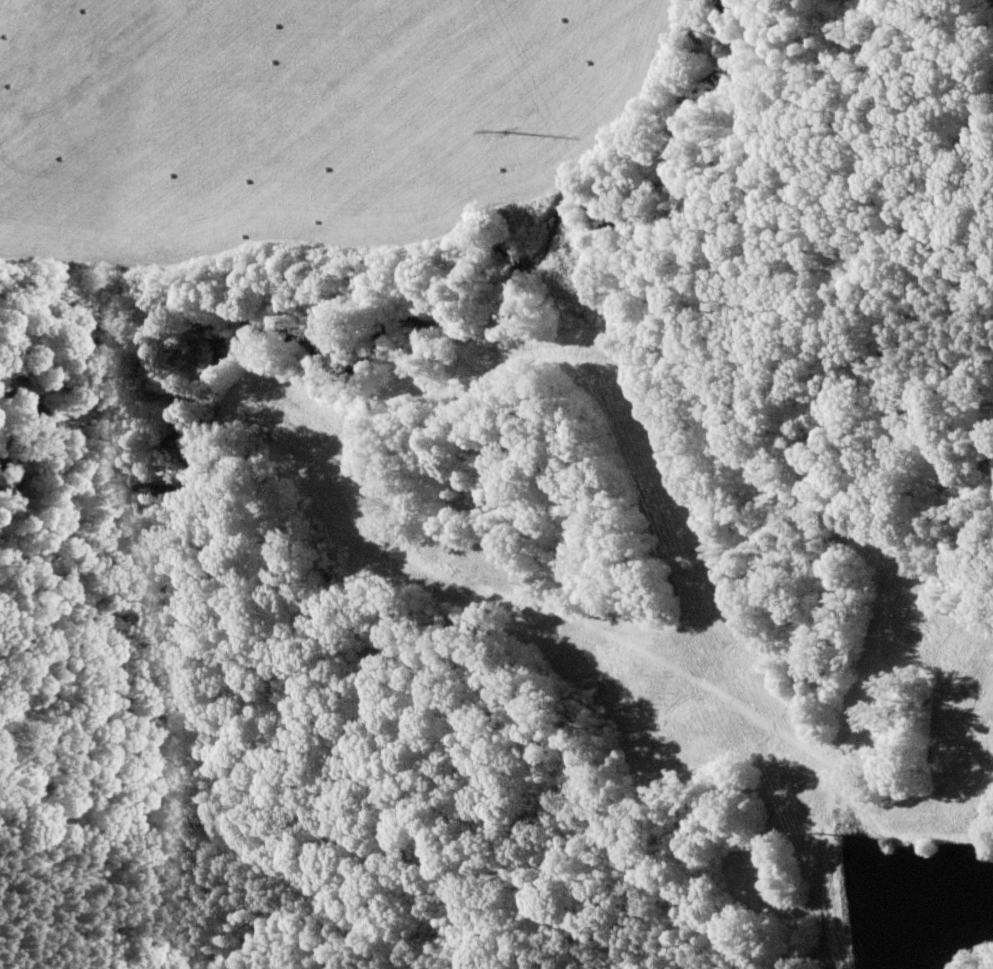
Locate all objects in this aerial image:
road: (979, 28)

